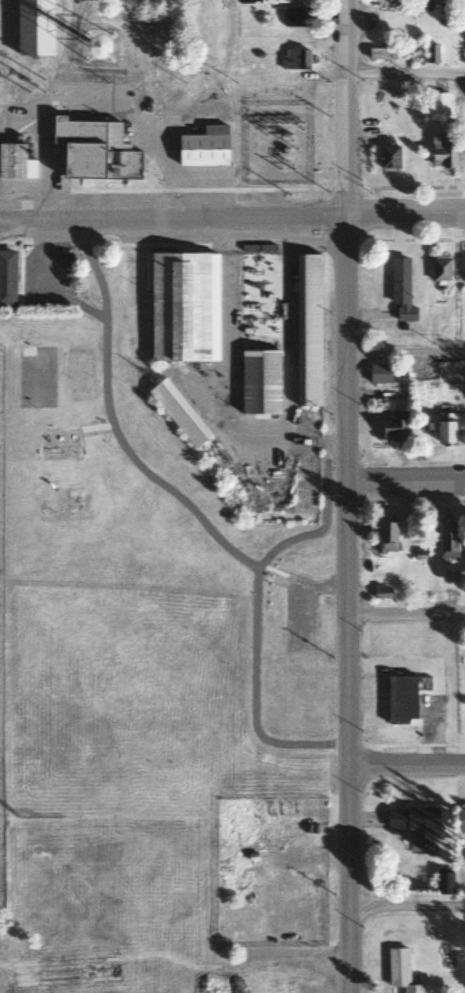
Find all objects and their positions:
building: (383, 1)
building: (295, 18)
building: (34, 27)
building: (431, 55)
building: (381, 56)
building: (464, 59)
building: (294, 61)
road: (404, 73)
building: (438, 106)
power substation: (276, 143)
building: (203, 149)
building: (94, 152)
building: (442, 153)
building: (389, 158)
building: (15, 164)
road: (232, 215)
building: (440, 269)
building: (463, 272)
building: (7, 278)
building: (400, 290)
building: (182, 305)
building: (307, 330)
building: (260, 333)
road: (405, 355)
building: (382, 374)
building: (30, 385)
building: (177, 413)
building: (394, 428)
building: (445, 428)
road: (405, 481)
road: (346, 496)
building: (386, 537)
building: (447, 538)
building: (381, 592)
road: (405, 614)
building: (402, 700)
road: (405, 764)
building: (461, 819)
building: (414, 824)
building: (444, 882)
road: (406, 906)
building: (400, 970)

